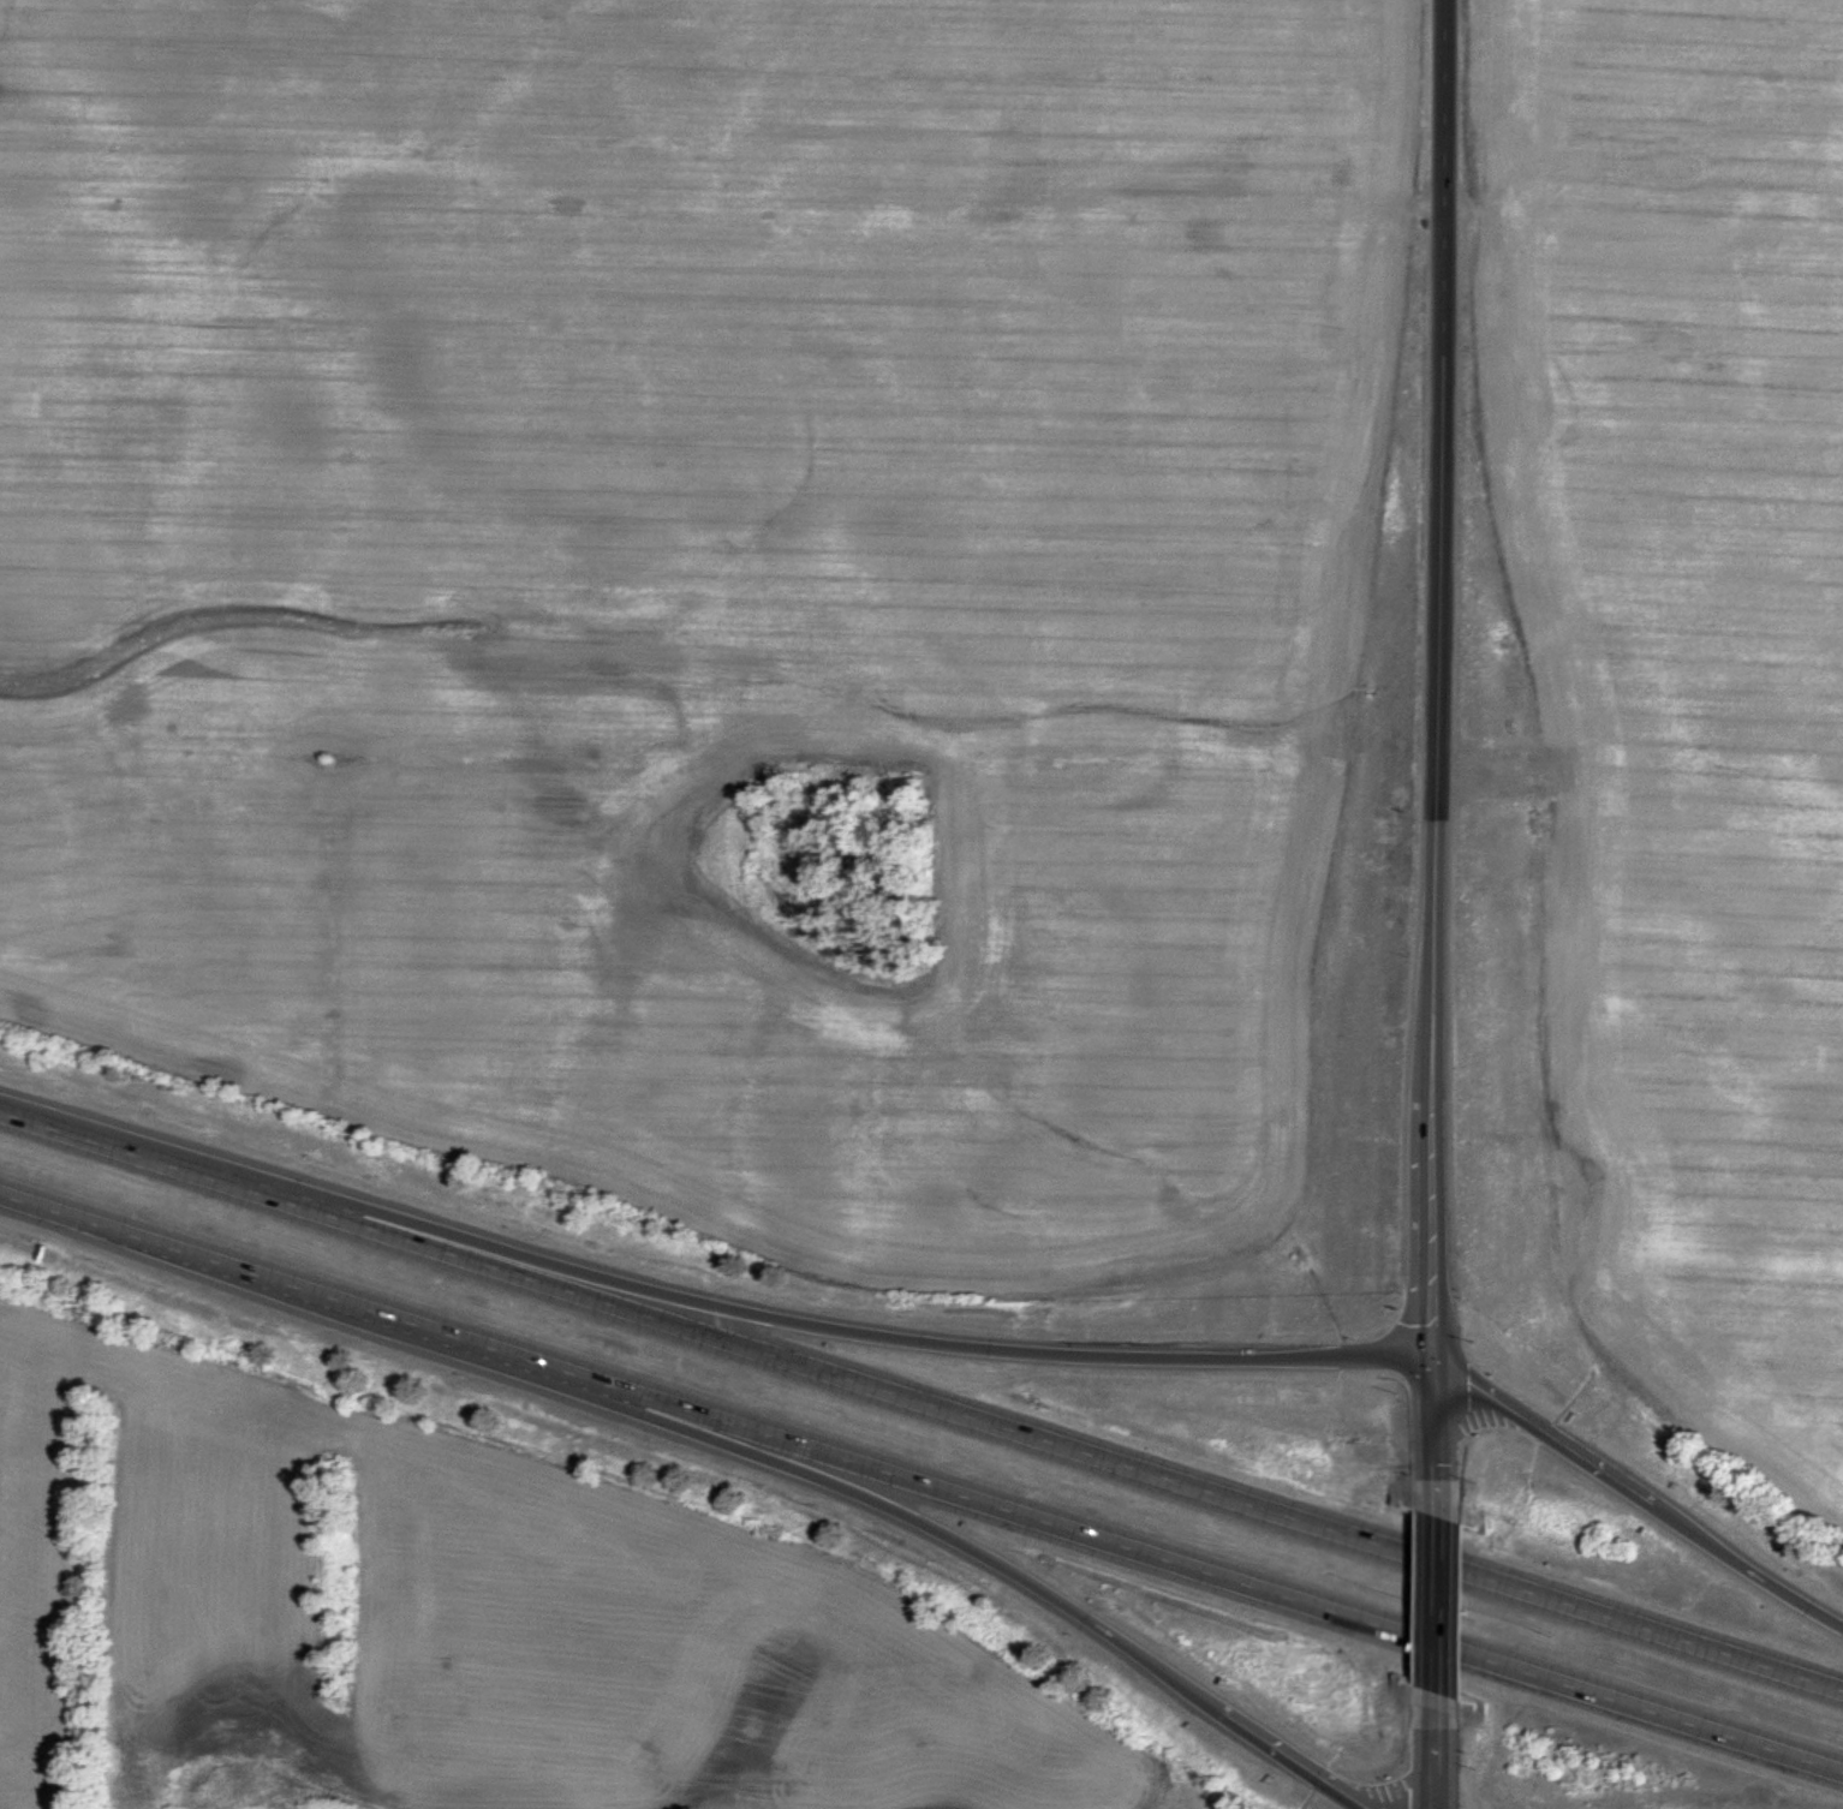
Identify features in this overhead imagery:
road: (1439, 543)
crop: (750, 607)
crop: (1647, 715)
road: (1433, 1225)
road: (742, 1309)
road: (920, 1401)
road: (674, 1425)
road: (1435, 1431)
road: (1550, 1433)
road: (921, 1482)
road: (1750, 1571)
road: (1435, 1604)
road: (1433, 1759)
road: (1293, 1761)

